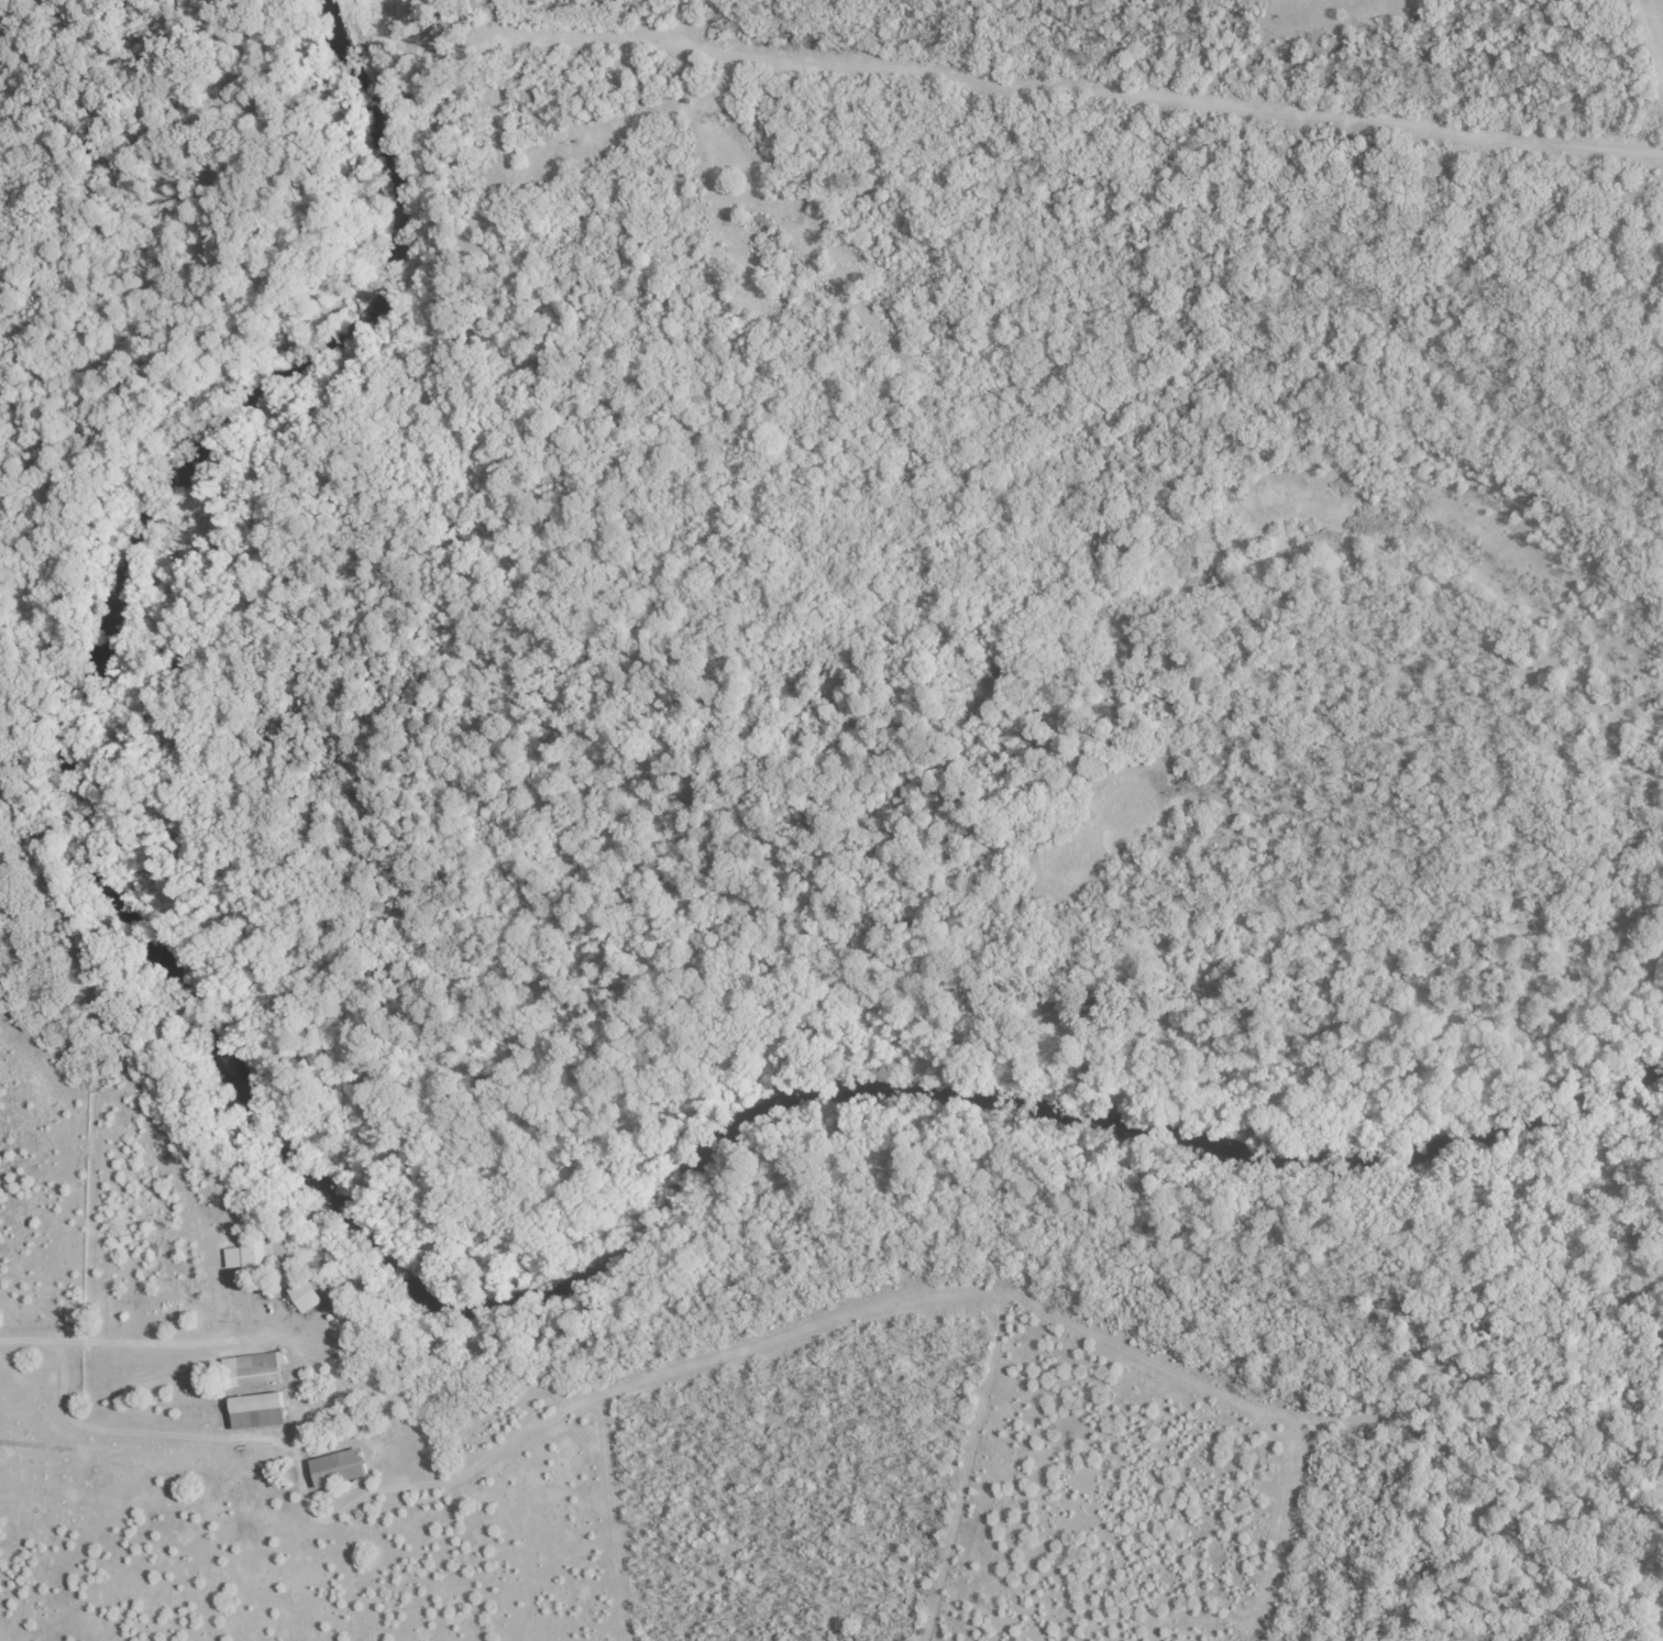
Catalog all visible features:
river: (346, 1244)
building: (249, 1252)
building: (306, 1296)
building: (252, 1369)
building: (256, 1412)
building: (335, 1468)

